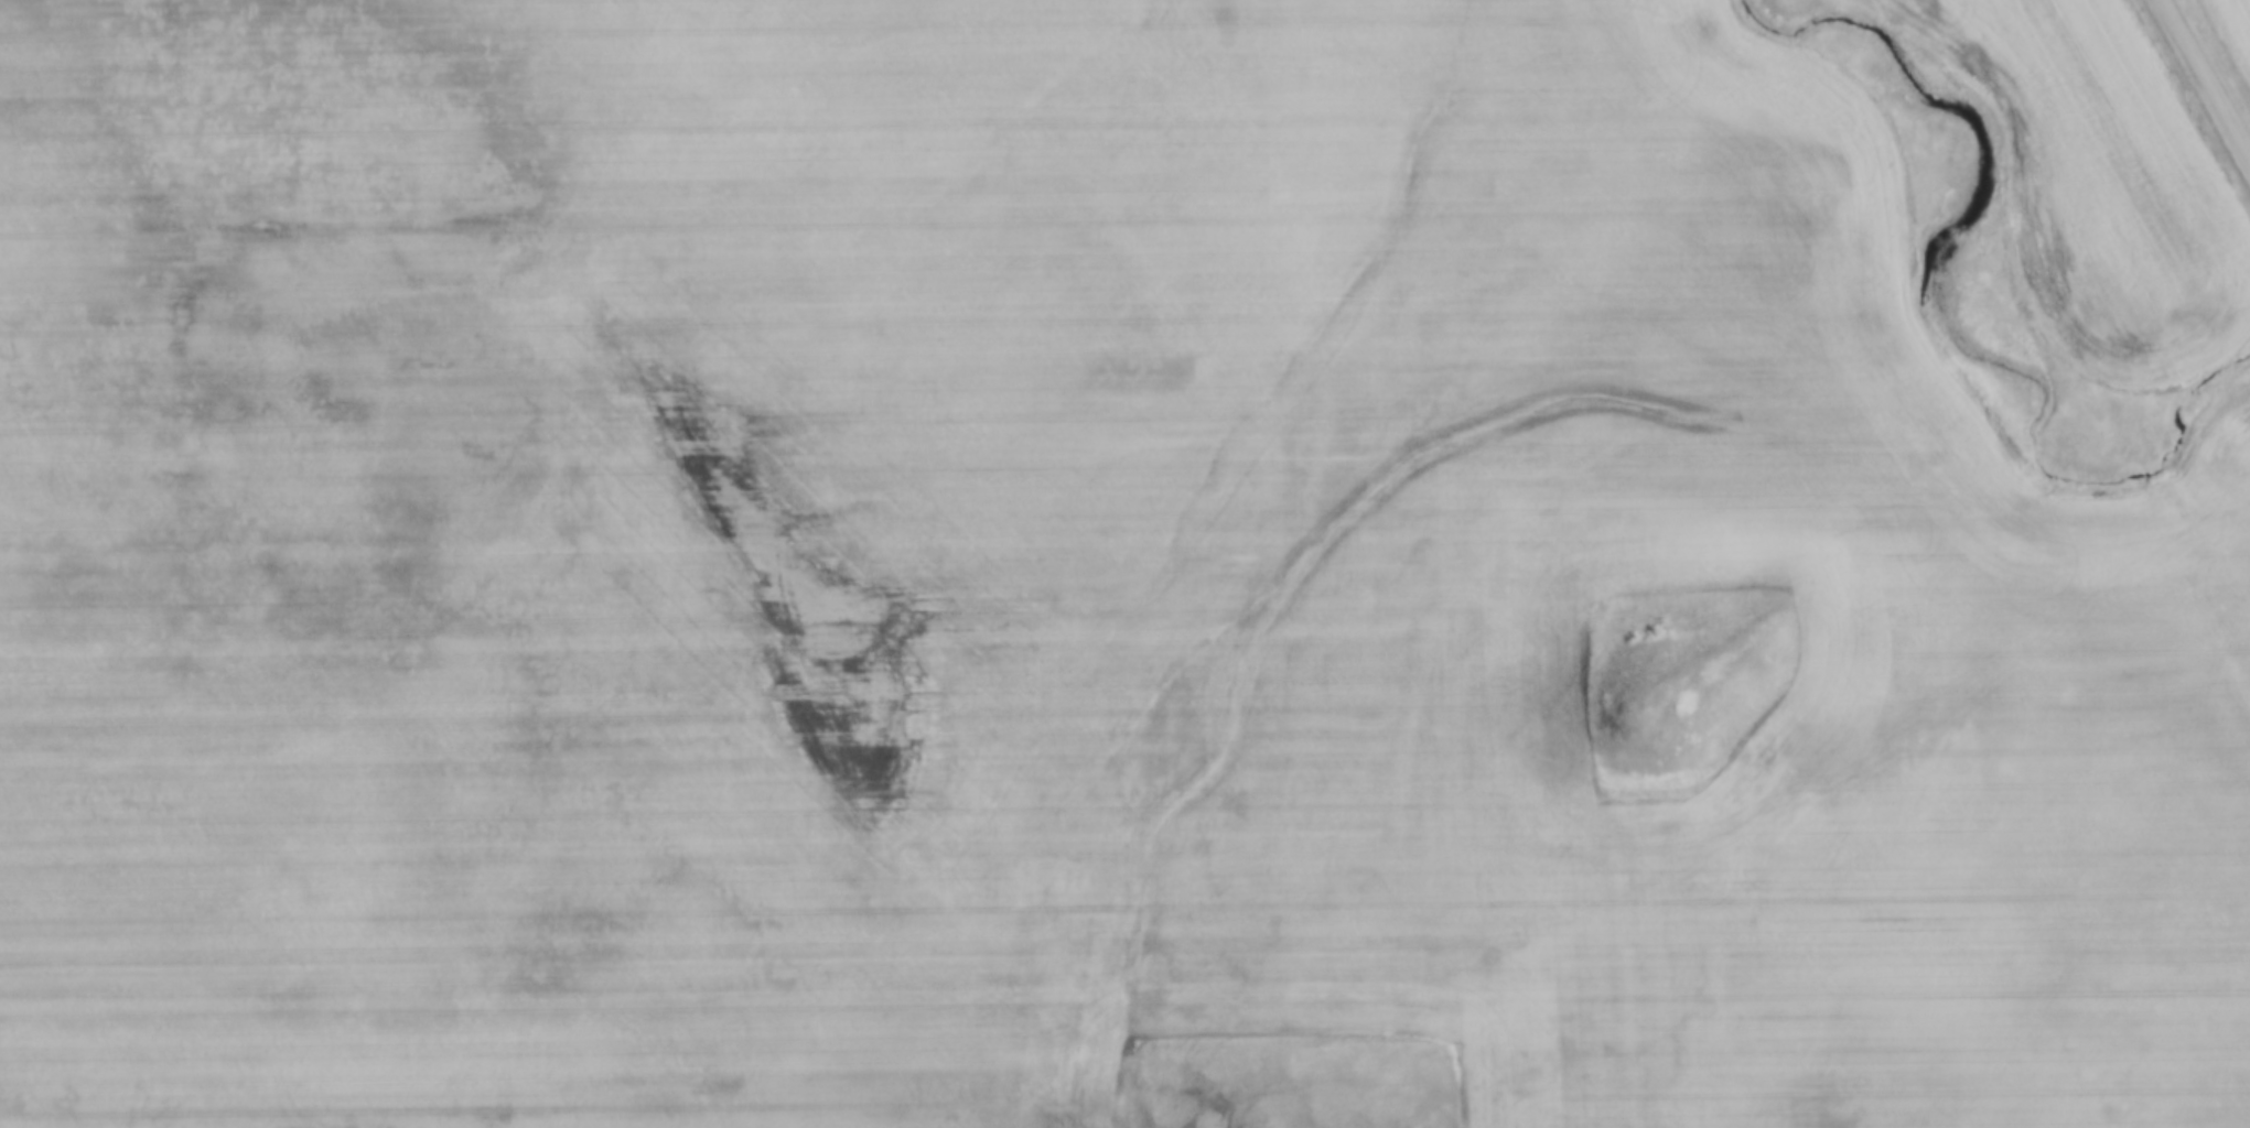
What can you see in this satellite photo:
road: (2207, 75)

